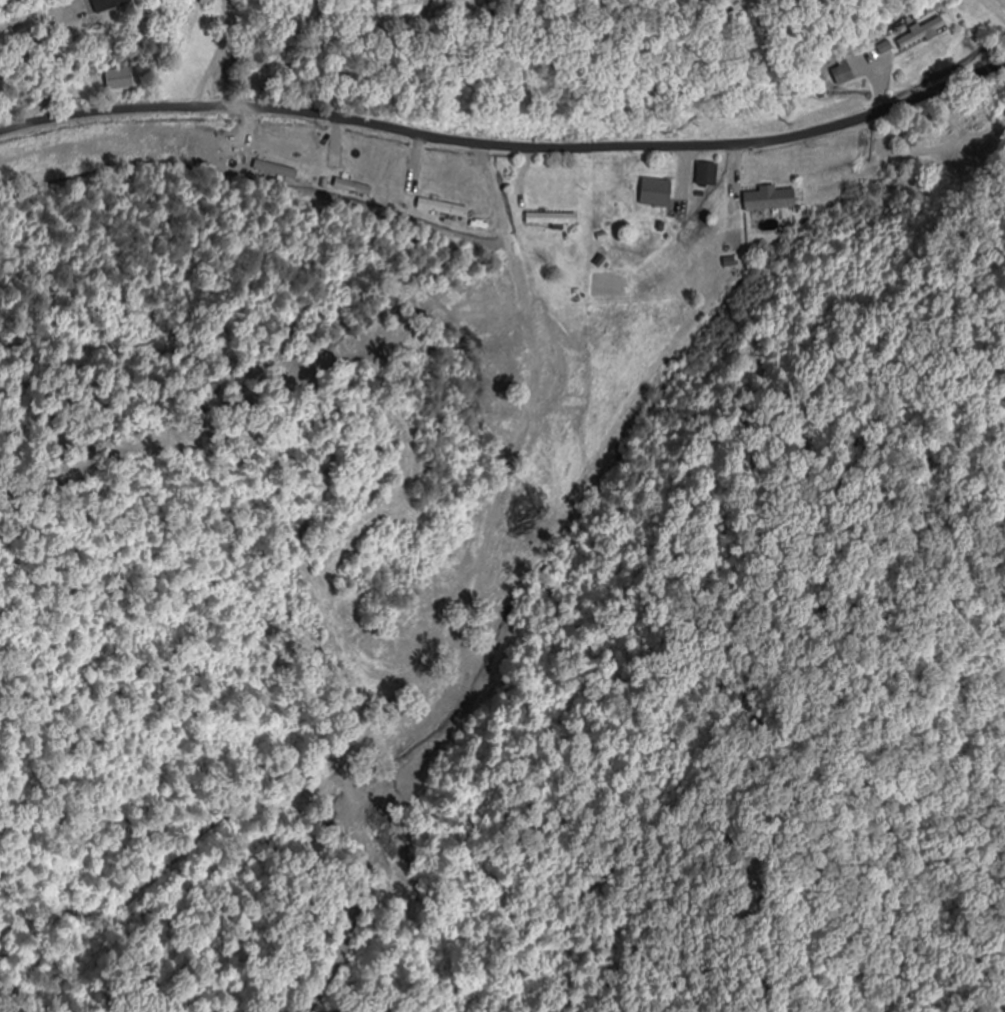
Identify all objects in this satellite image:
building: (113, 5)
building: (204, 10)
building: (923, 34)
building: (123, 80)
road: (506, 145)
building: (708, 175)
building: (656, 193)
building: (771, 200)
building: (551, 219)

